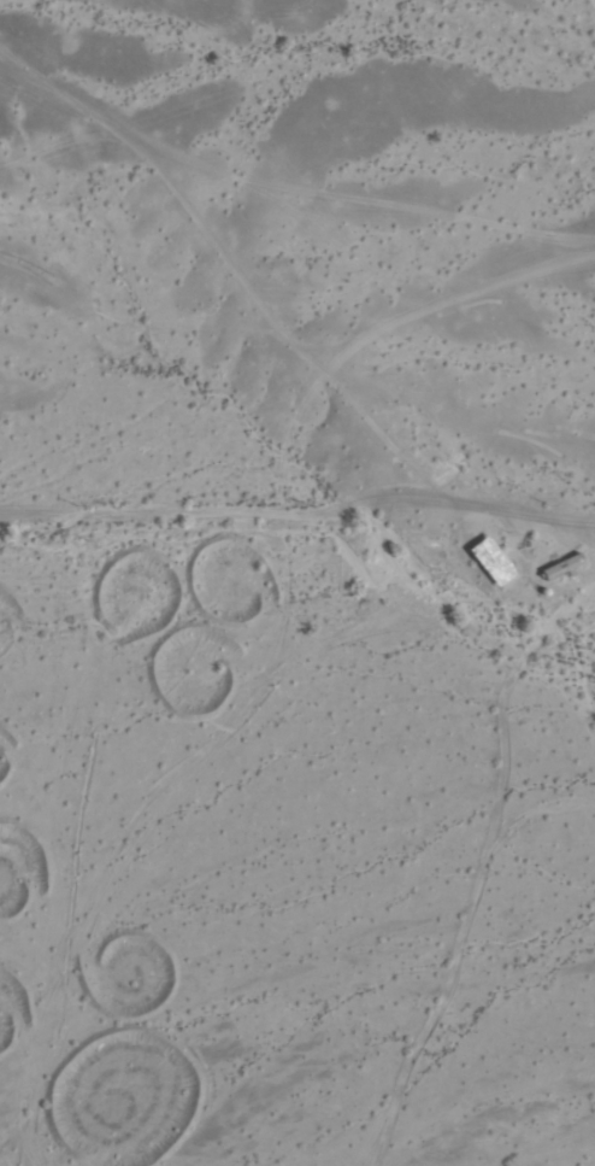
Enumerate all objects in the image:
building: (494, 562)

